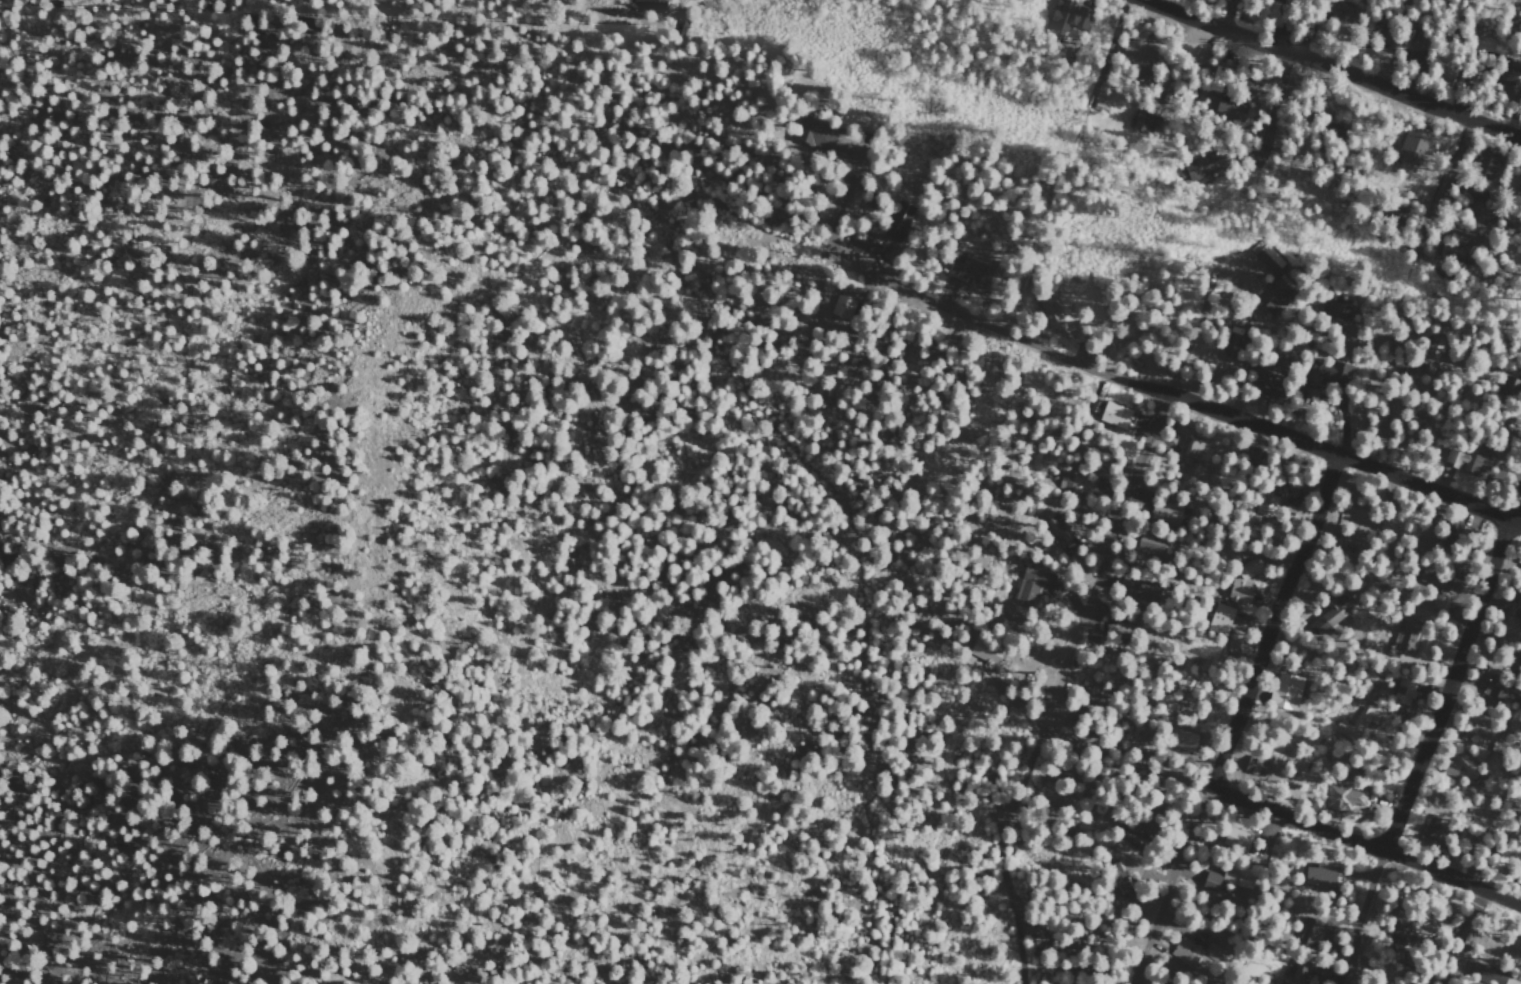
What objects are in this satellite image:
building: (1282, 2)
building: (651, 4)
building: (1339, 12)
building: (1068, 16)
building: (679, 25)
building: (1382, 40)
building: (1419, 47)
road: (1106, 50)
building: (1136, 60)
road: (1332, 67)
building: (1507, 74)
building: (1215, 79)
building: (1462, 82)
building: (1228, 109)
road: (1270, 113)
building: (1144, 122)
building: (811, 133)
building: (1410, 151)
building: (1484, 165)
building: (1202, 166)
road: (1437, 184)
road: (839, 204)
building: (1480, 206)
building: (1394, 215)
building: (904, 218)
building: (859, 241)
building: (965, 270)
building: (1273, 276)
building: (1054, 317)
building: (1429, 353)
building: (1329, 371)
road: (1367, 382)
building: (1259, 384)
road: (1177, 398)
building: (1113, 415)
building: (1191, 451)
building: (1464, 460)
building: (1071, 482)
building: (1268, 503)
building: (1165, 514)
road: (1101, 527)
building: (1149, 544)
building: (1437, 580)
building: (1029, 586)
building: (1238, 586)
building: (1133, 594)
building: (1326, 619)
building: (1219, 620)
building: (1232, 642)
building: (1496, 688)
building: (1284, 691)
road: (1230, 714)
building: (1367, 718)
building: (1345, 731)
road: (1423, 742)
building: (1254, 765)
building: (1461, 771)
building: (1343, 796)
road: (999, 822)
building: (1236, 839)
road: (1361, 846)
building: (1112, 871)
building: (1317, 875)
building: (1225, 878)
building: (1520, 884)
building: (1400, 924)
building: (1308, 930)
building: (1034, 932)
building: (1464, 944)
building: (1196, 956)
building: (1297, 974)

